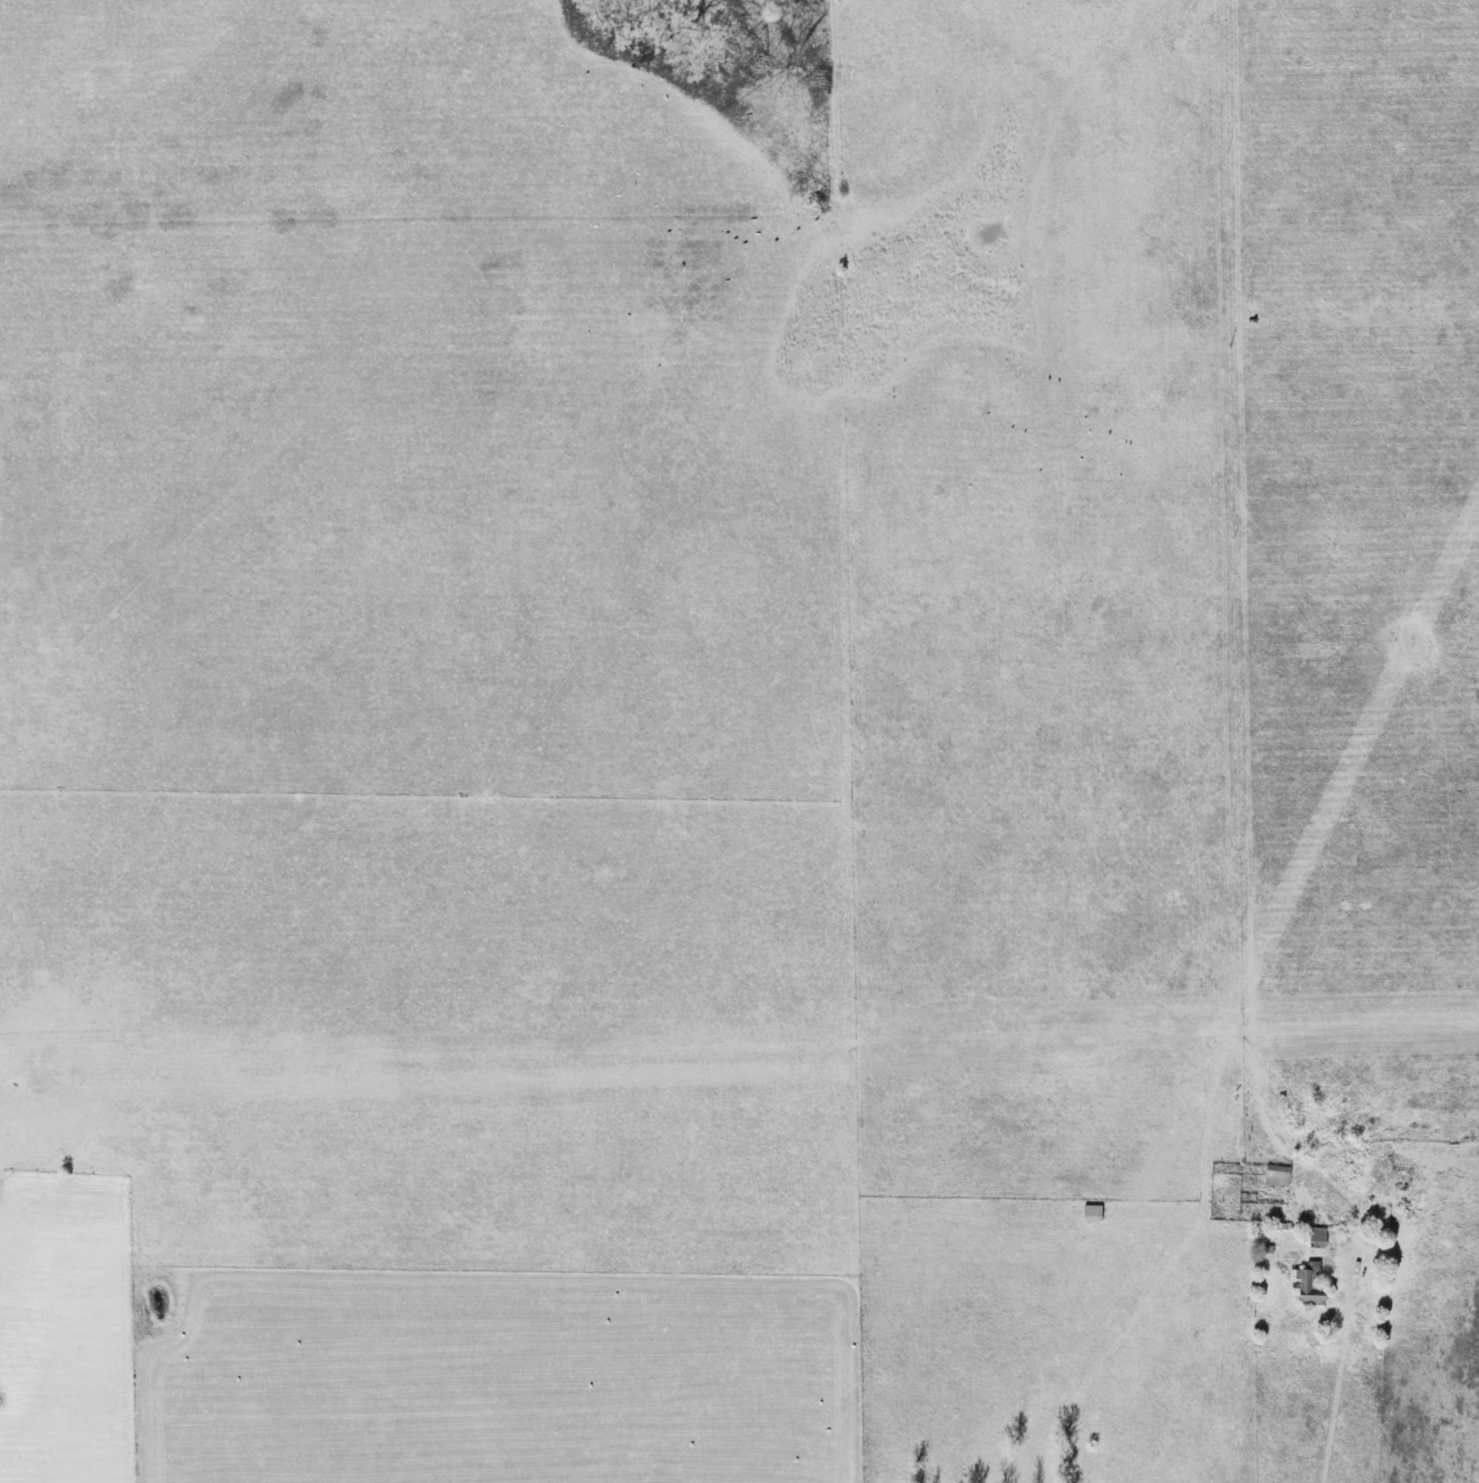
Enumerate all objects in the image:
building: (1273, 1174)
building: (1395, 1187)
building: (1088, 1212)
building: (1313, 1237)
building: (1306, 1284)
road: (1335, 1354)

